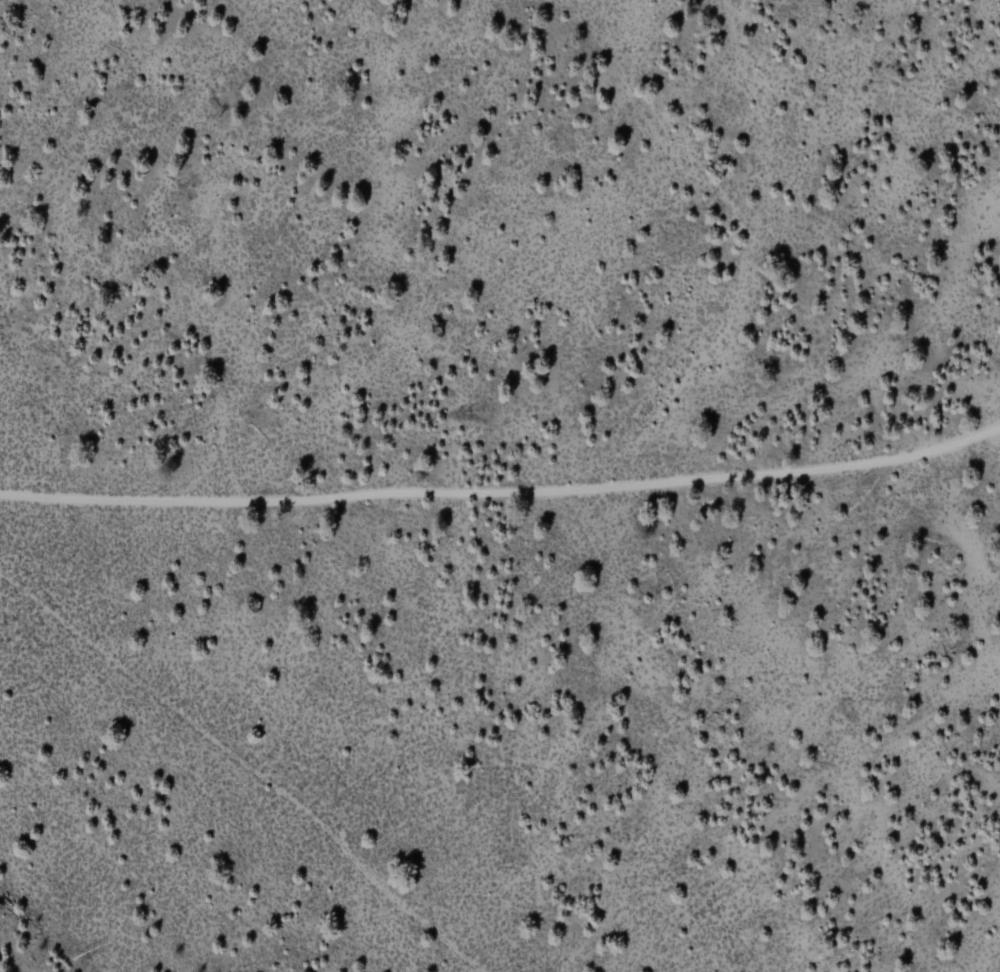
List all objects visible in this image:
road: (502, 497)
road: (249, 765)
road: (346, 915)

